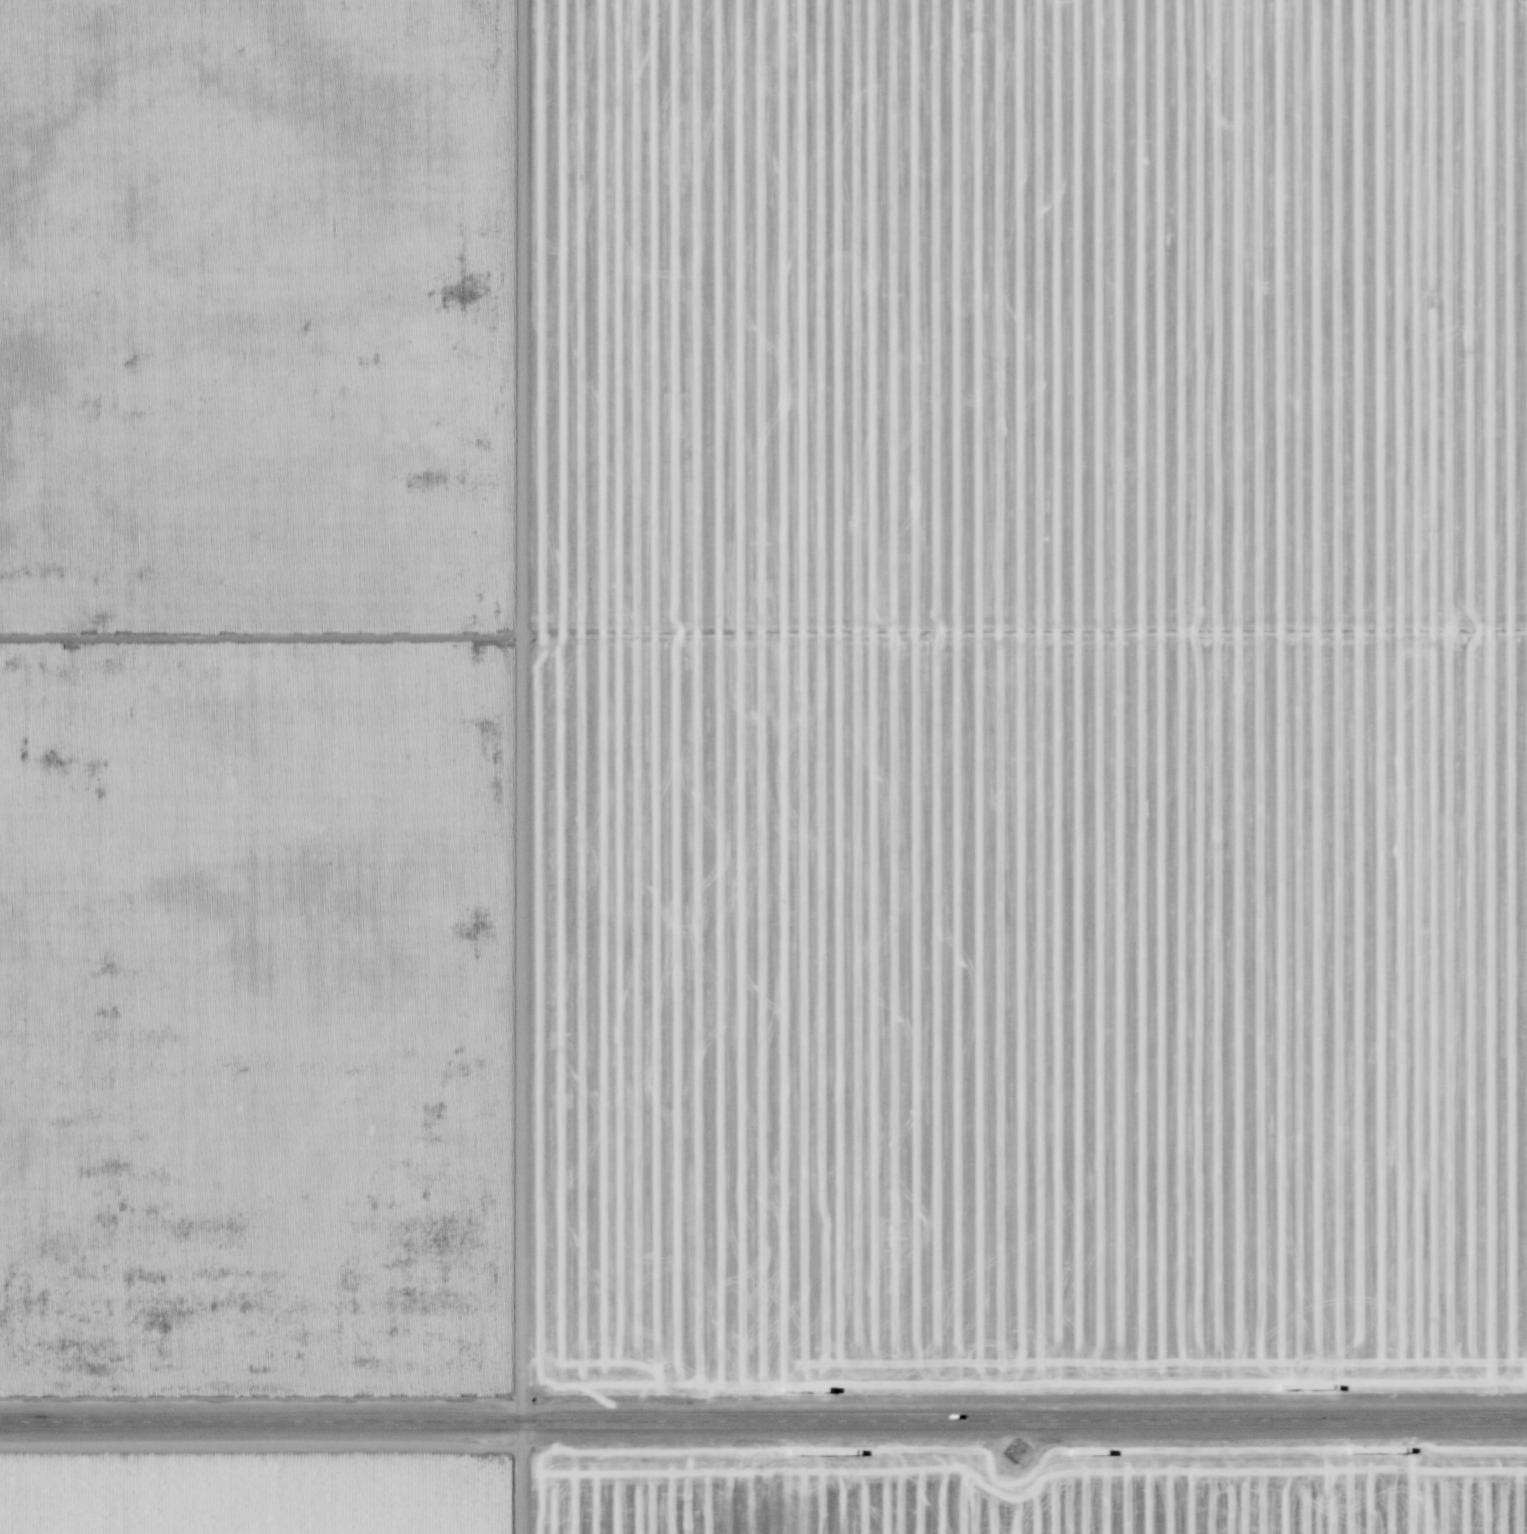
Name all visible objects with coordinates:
road: (763, 1431)

